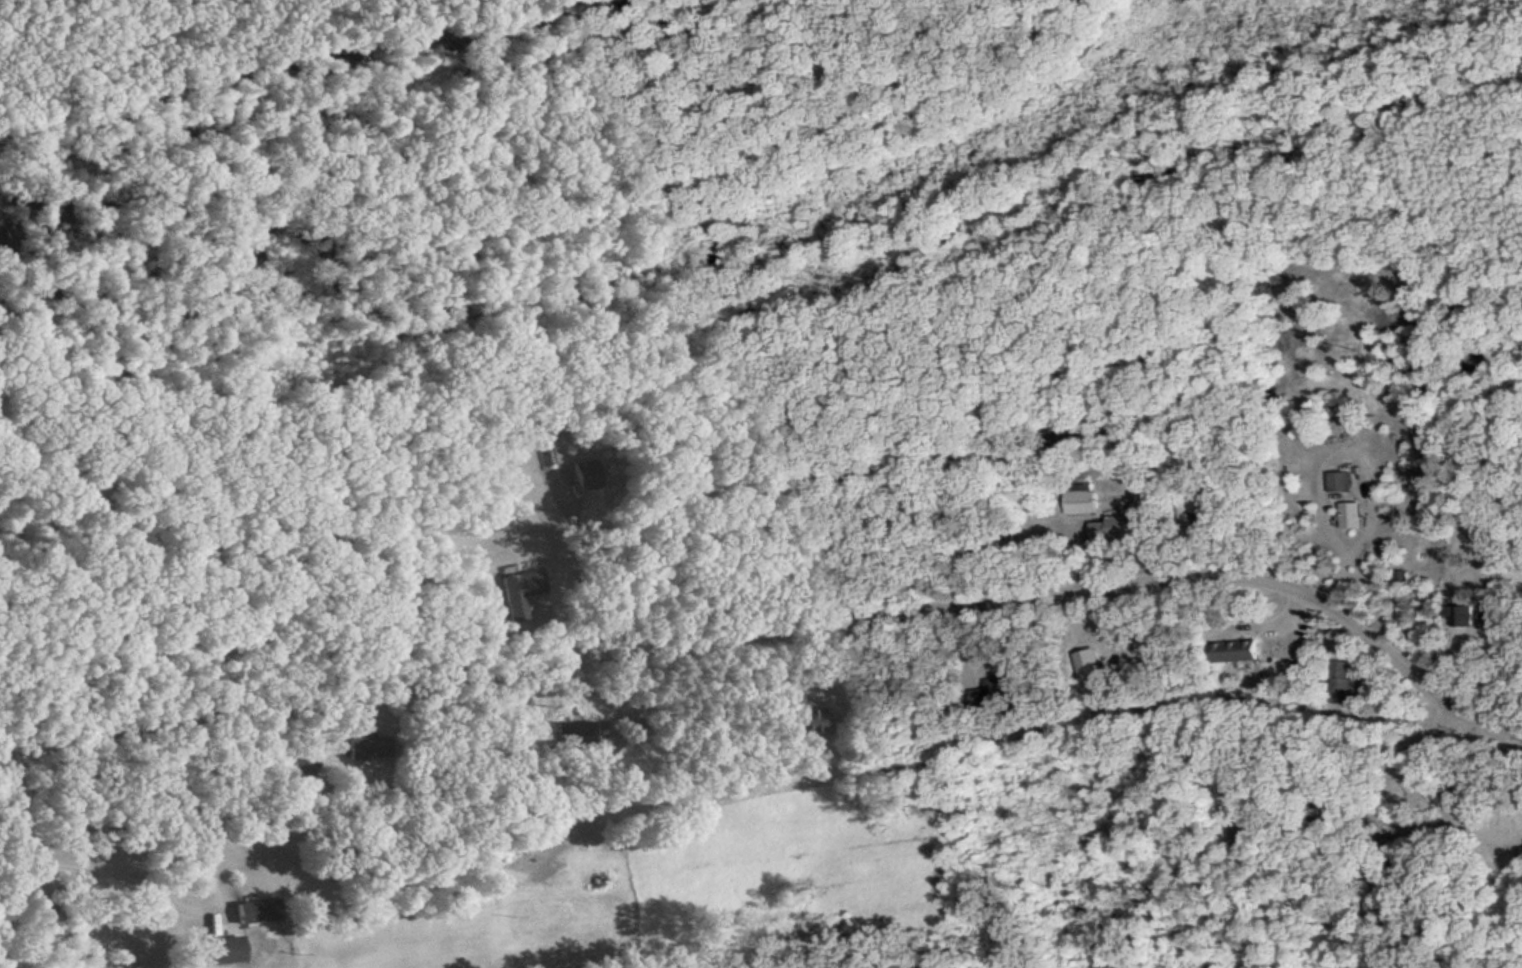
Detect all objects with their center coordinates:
road: (1498, 473)
building: (566, 477)
building: (1342, 482)
building: (1082, 500)
building: (1353, 516)
building: (1111, 528)
building: (519, 595)
building: (1462, 617)
road: (782, 635)
building: (1236, 653)
road: (1224, 663)
road: (1248, 669)
building: (803, 718)
building: (635, 730)
building: (574, 736)
building: (366, 750)
building: (259, 912)
building: (226, 951)

